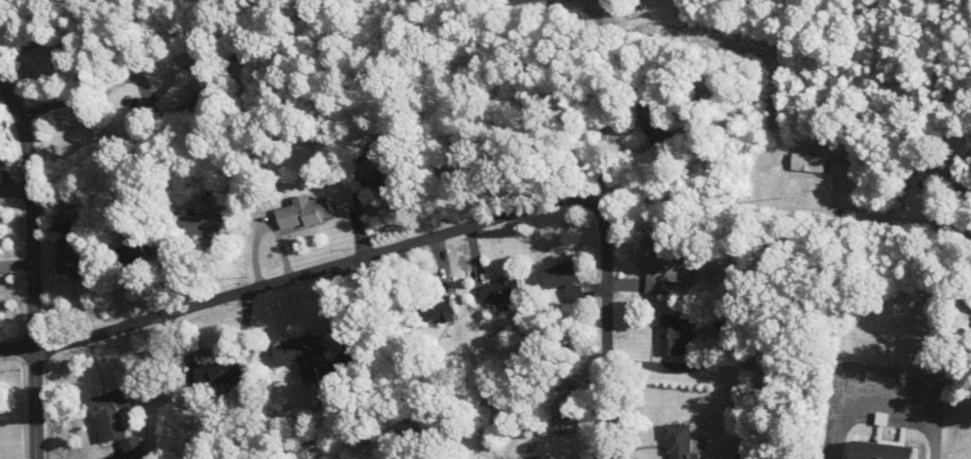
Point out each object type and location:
building: (35, 51)
building: (181, 89)
road: (603, 91)
road: (41, 92)
road: (83, 101)
road: (621, 112)
building: (655, 131)
building: (805, 162)
road: (15, 169)
building: (931, 174)
building: (378, 176)
road: (349, 187)
road: (16, 198)
building: (301, 210)
building: (204, 221)
road: (264, 224)
road: (959, 231)
building: (127, 249)
road: (476, 254)
building: (69, 260)
road: (16, 261)
road: (440, 263)
road: (209, 266)
road: (33, 268)
road: (318, 268)
building: (661, 268)
building: (557, 273)
road: (622, 285)
road: (141, 292)
building: (499, 294)
building: (435, 308)
road: (605, 321)
building: (670, 334)
road: (188, 344)
road: (17, 347)
road: (94, 353)
building: (298, 353)
road: (658, 363)
building: (211, 372)
road: (18, 388)
road: (886, 394)
building: (106, 412)
road: (445, 440)
building: (676, 441)
building: (130, 447)
building: (882, 448)
building: (534, 458)

